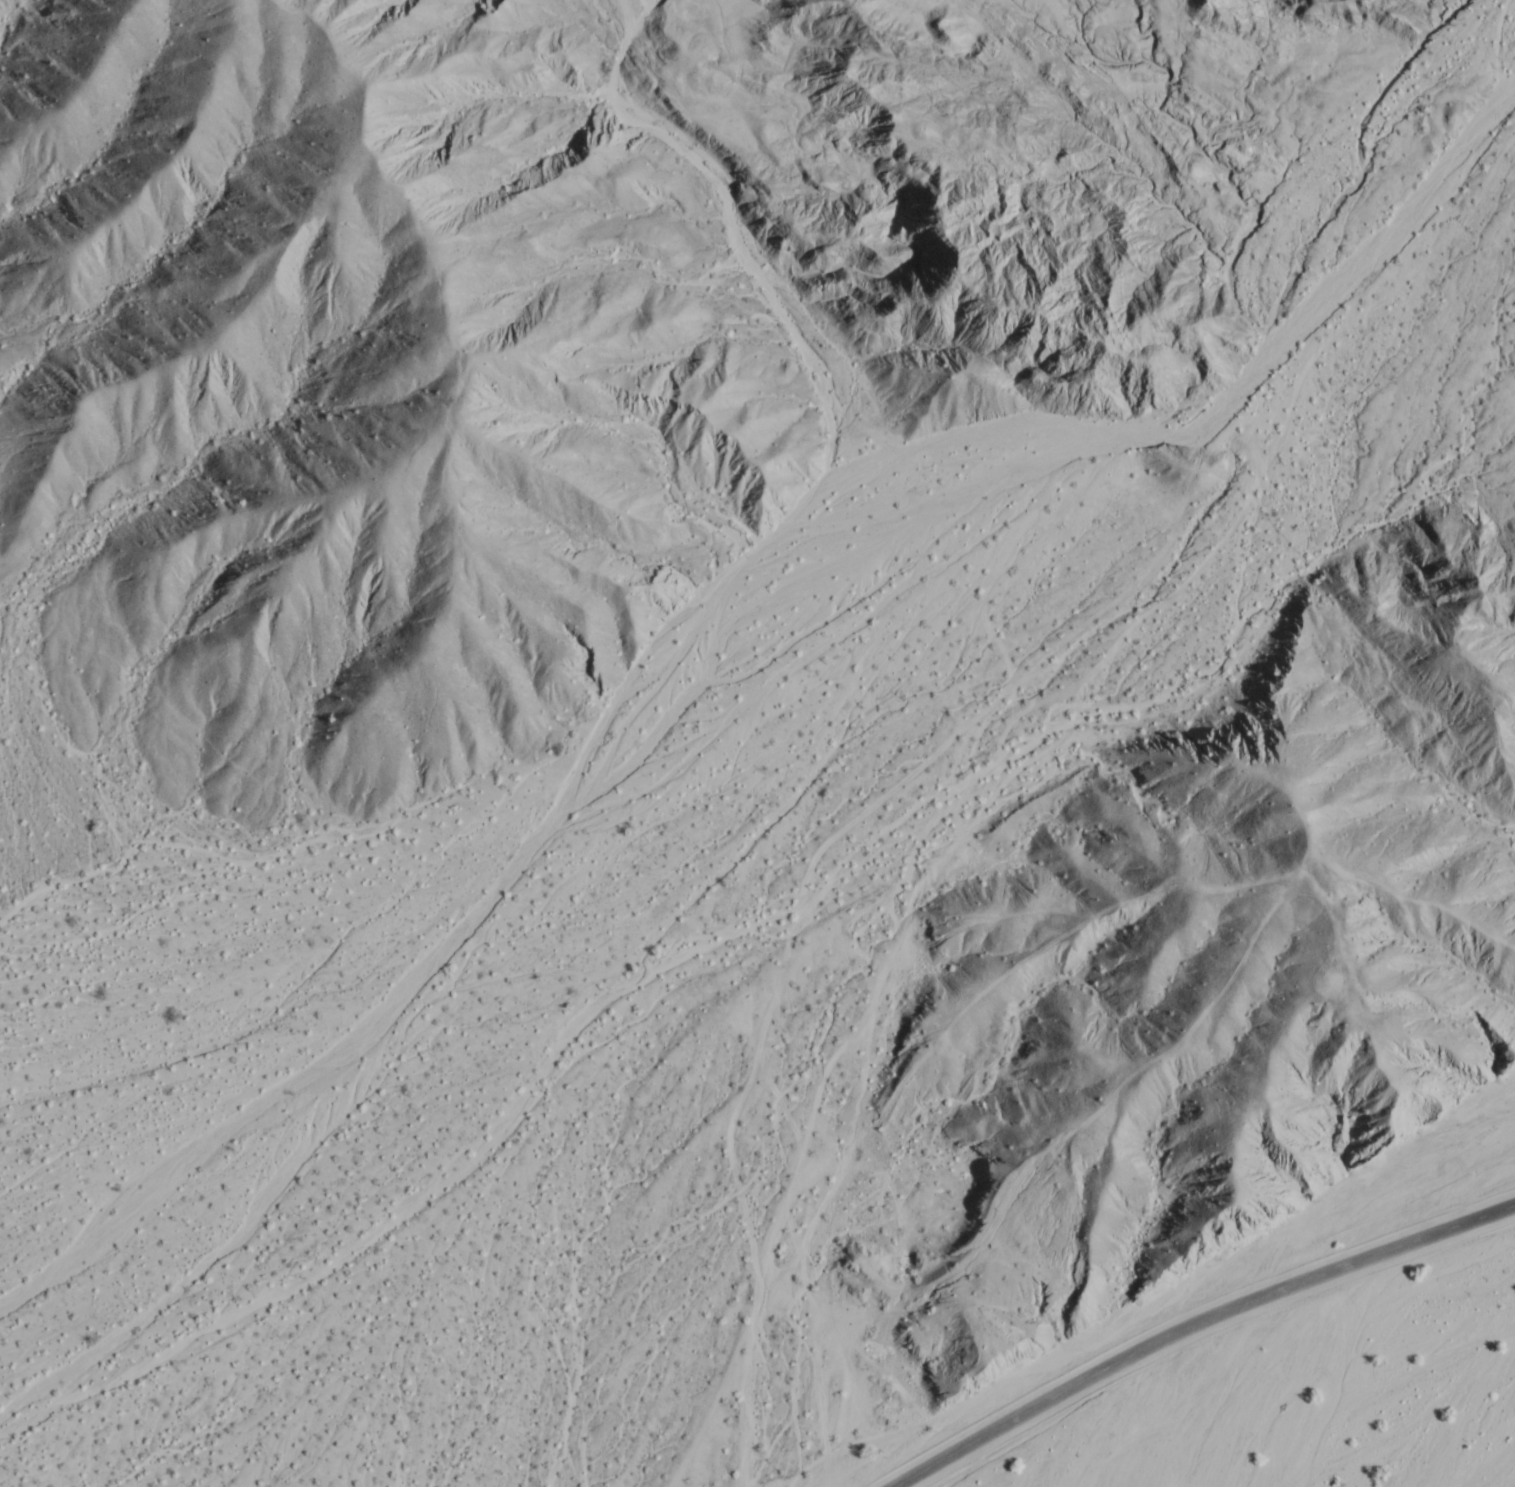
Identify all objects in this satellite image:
road: (1192, 1326)

